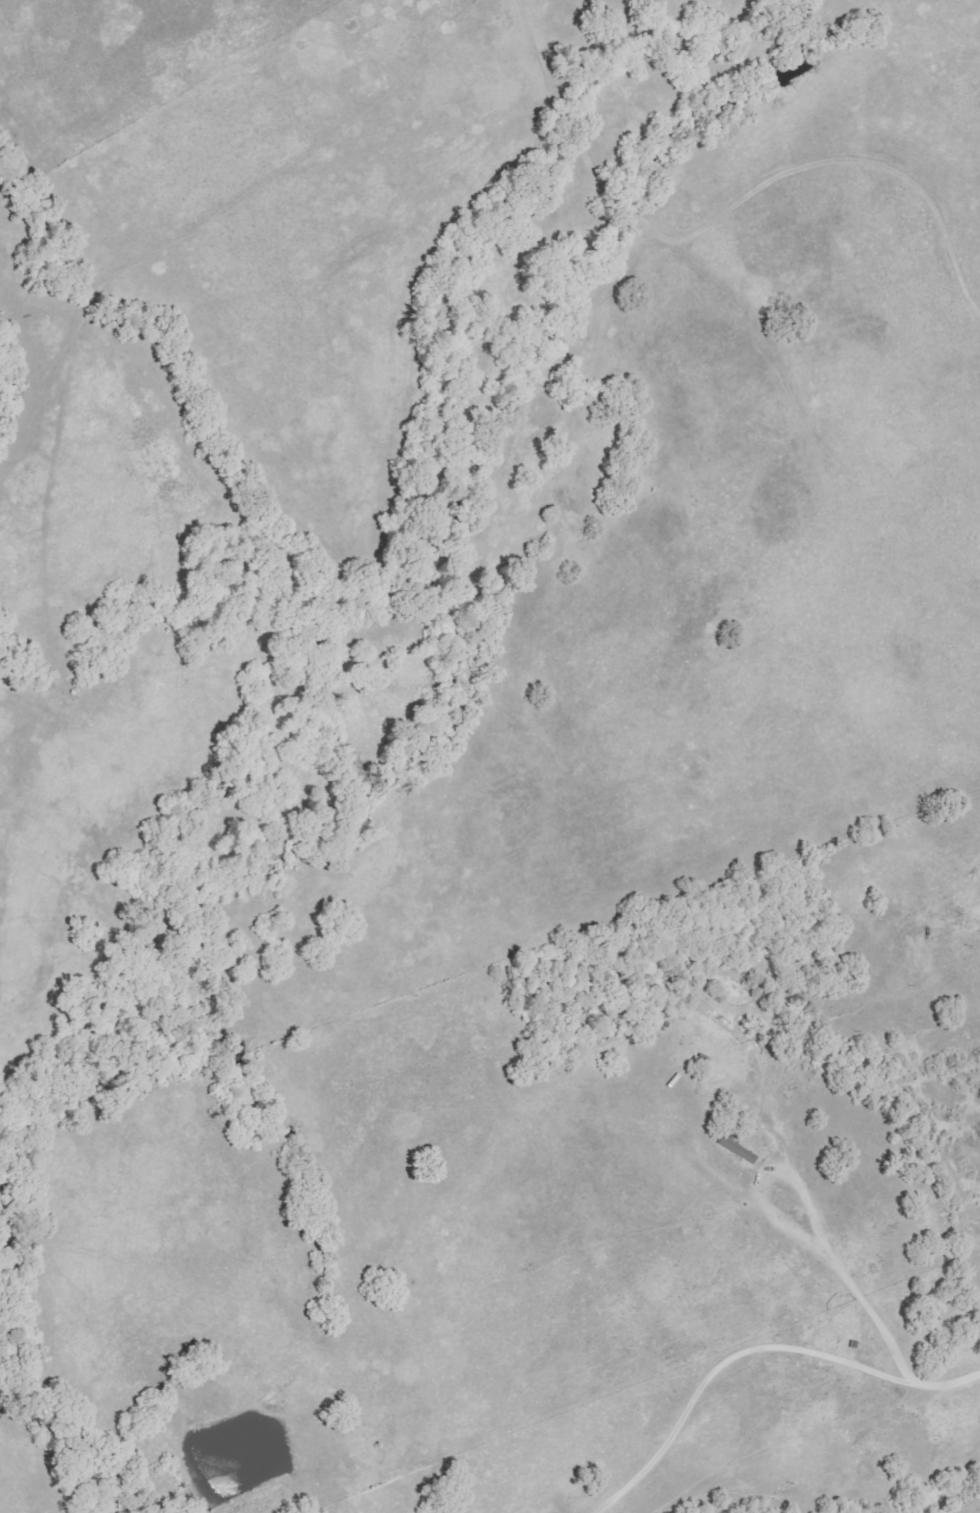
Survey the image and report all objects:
building: (735, 1149)
road: (863, 1299)

